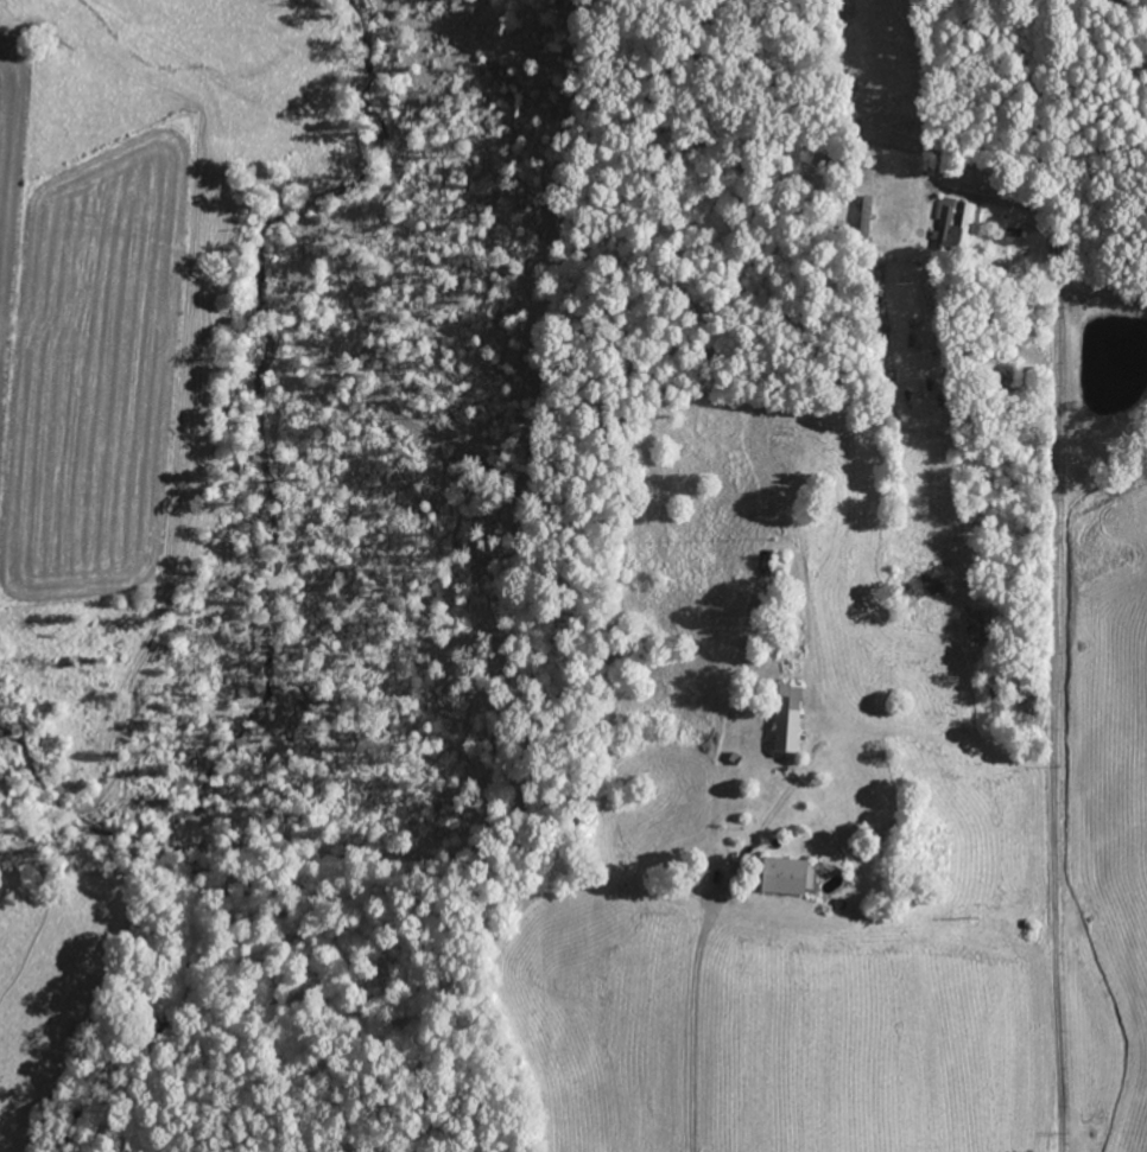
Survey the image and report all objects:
building: (958, 228)
road: (1053, 675)
building: (790, 718)
building: (787, 877)

